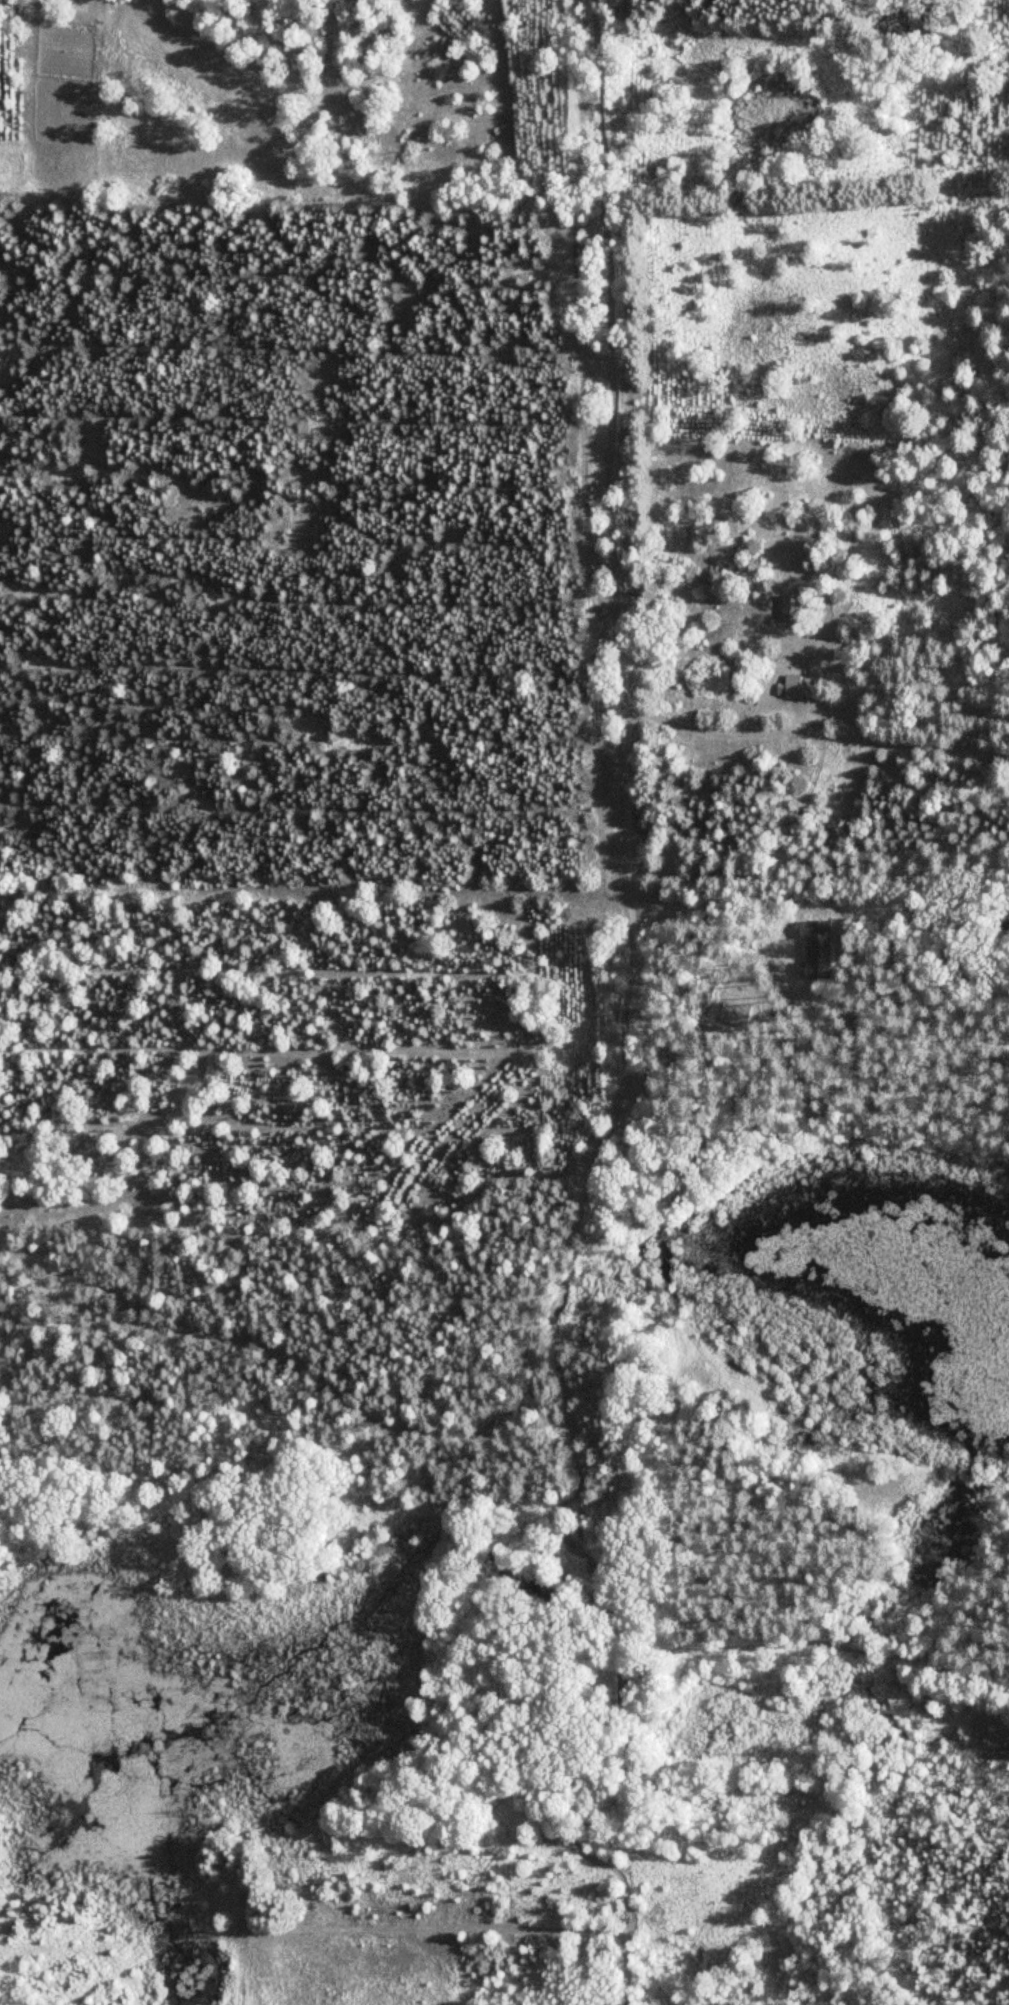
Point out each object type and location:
building: (793, 685)
building: (820, 956)
road: (639, 1002)

